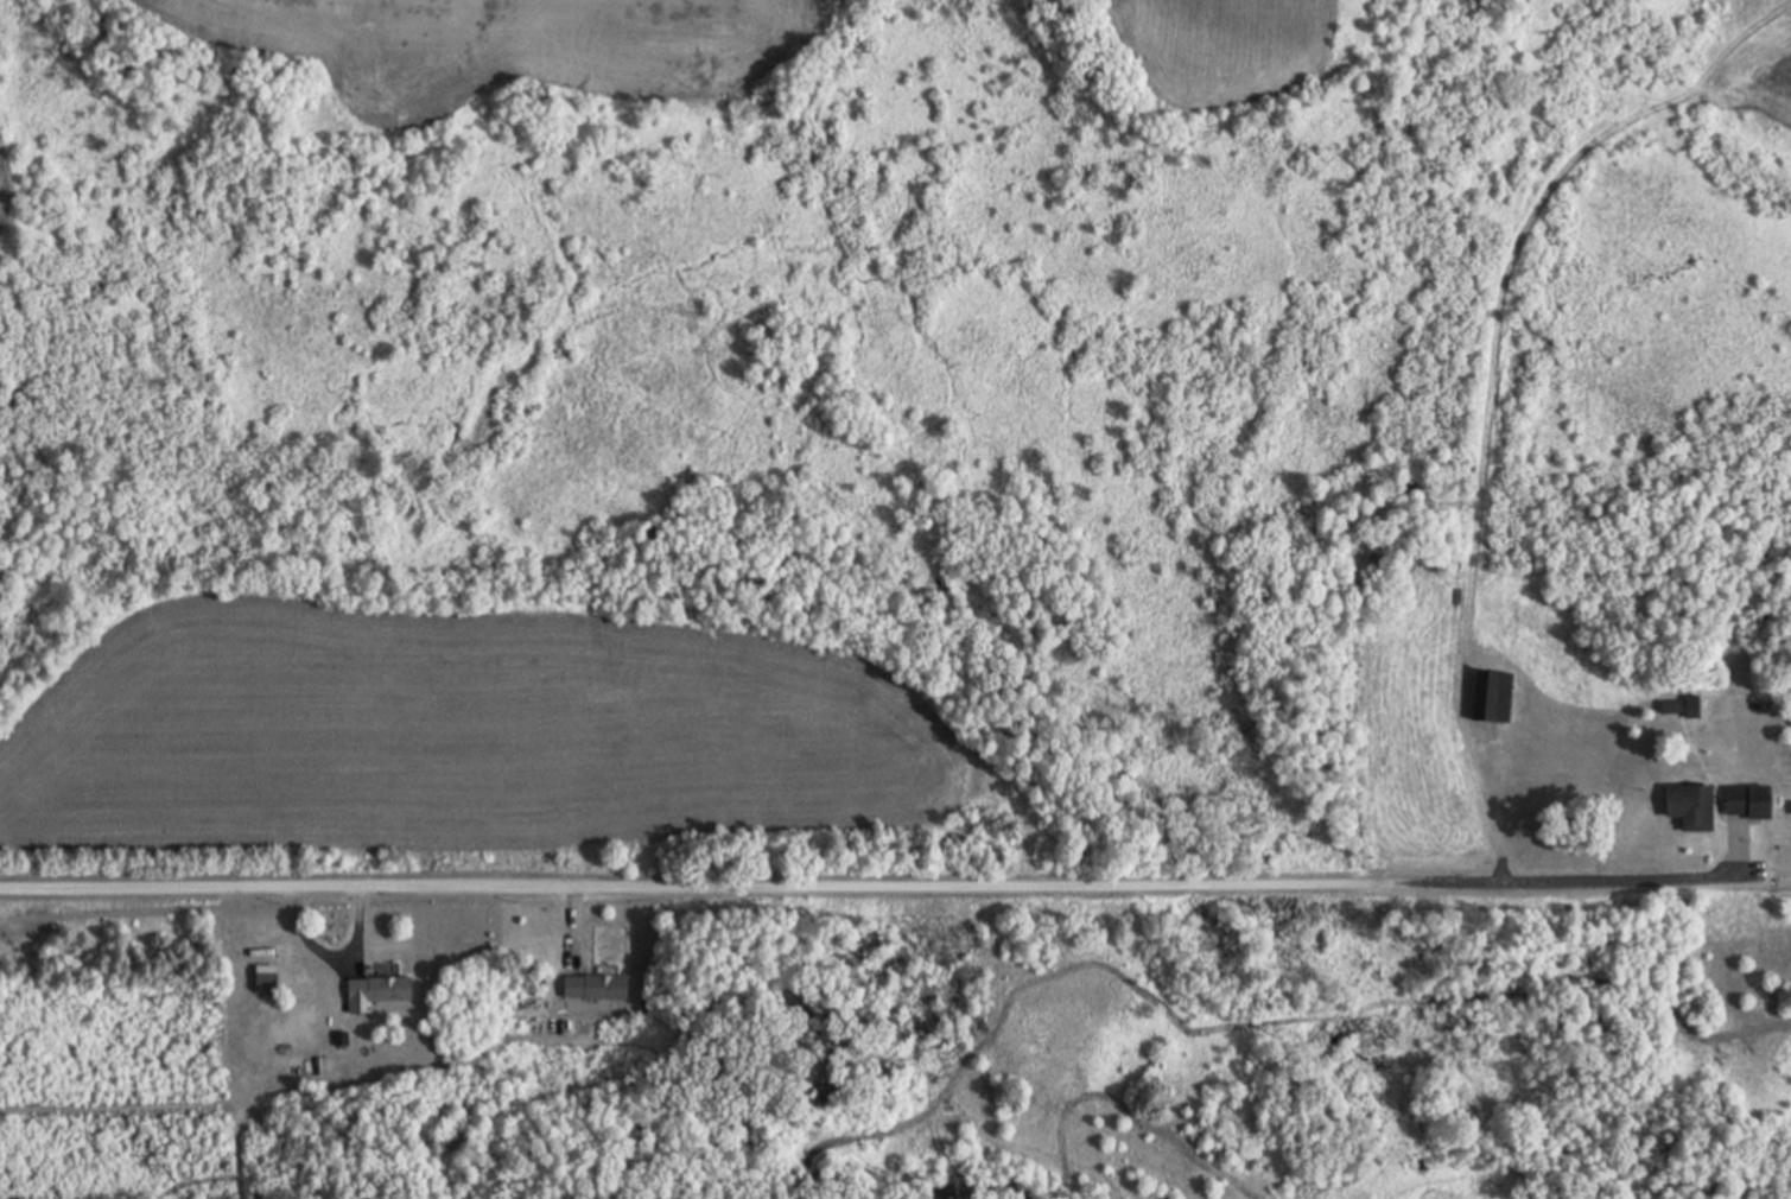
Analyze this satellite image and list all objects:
crop: (522, 45)
crop: (1238, 46)
crop: (9, 196)
building: (1501, 696)
crop: (494, 747)
building: (1749, 800)
building: (1692, 805)
road: (717, 877)
road: (1603, 881)
building: (266, 977)
building: (596, 987)
building: (377, 990)

